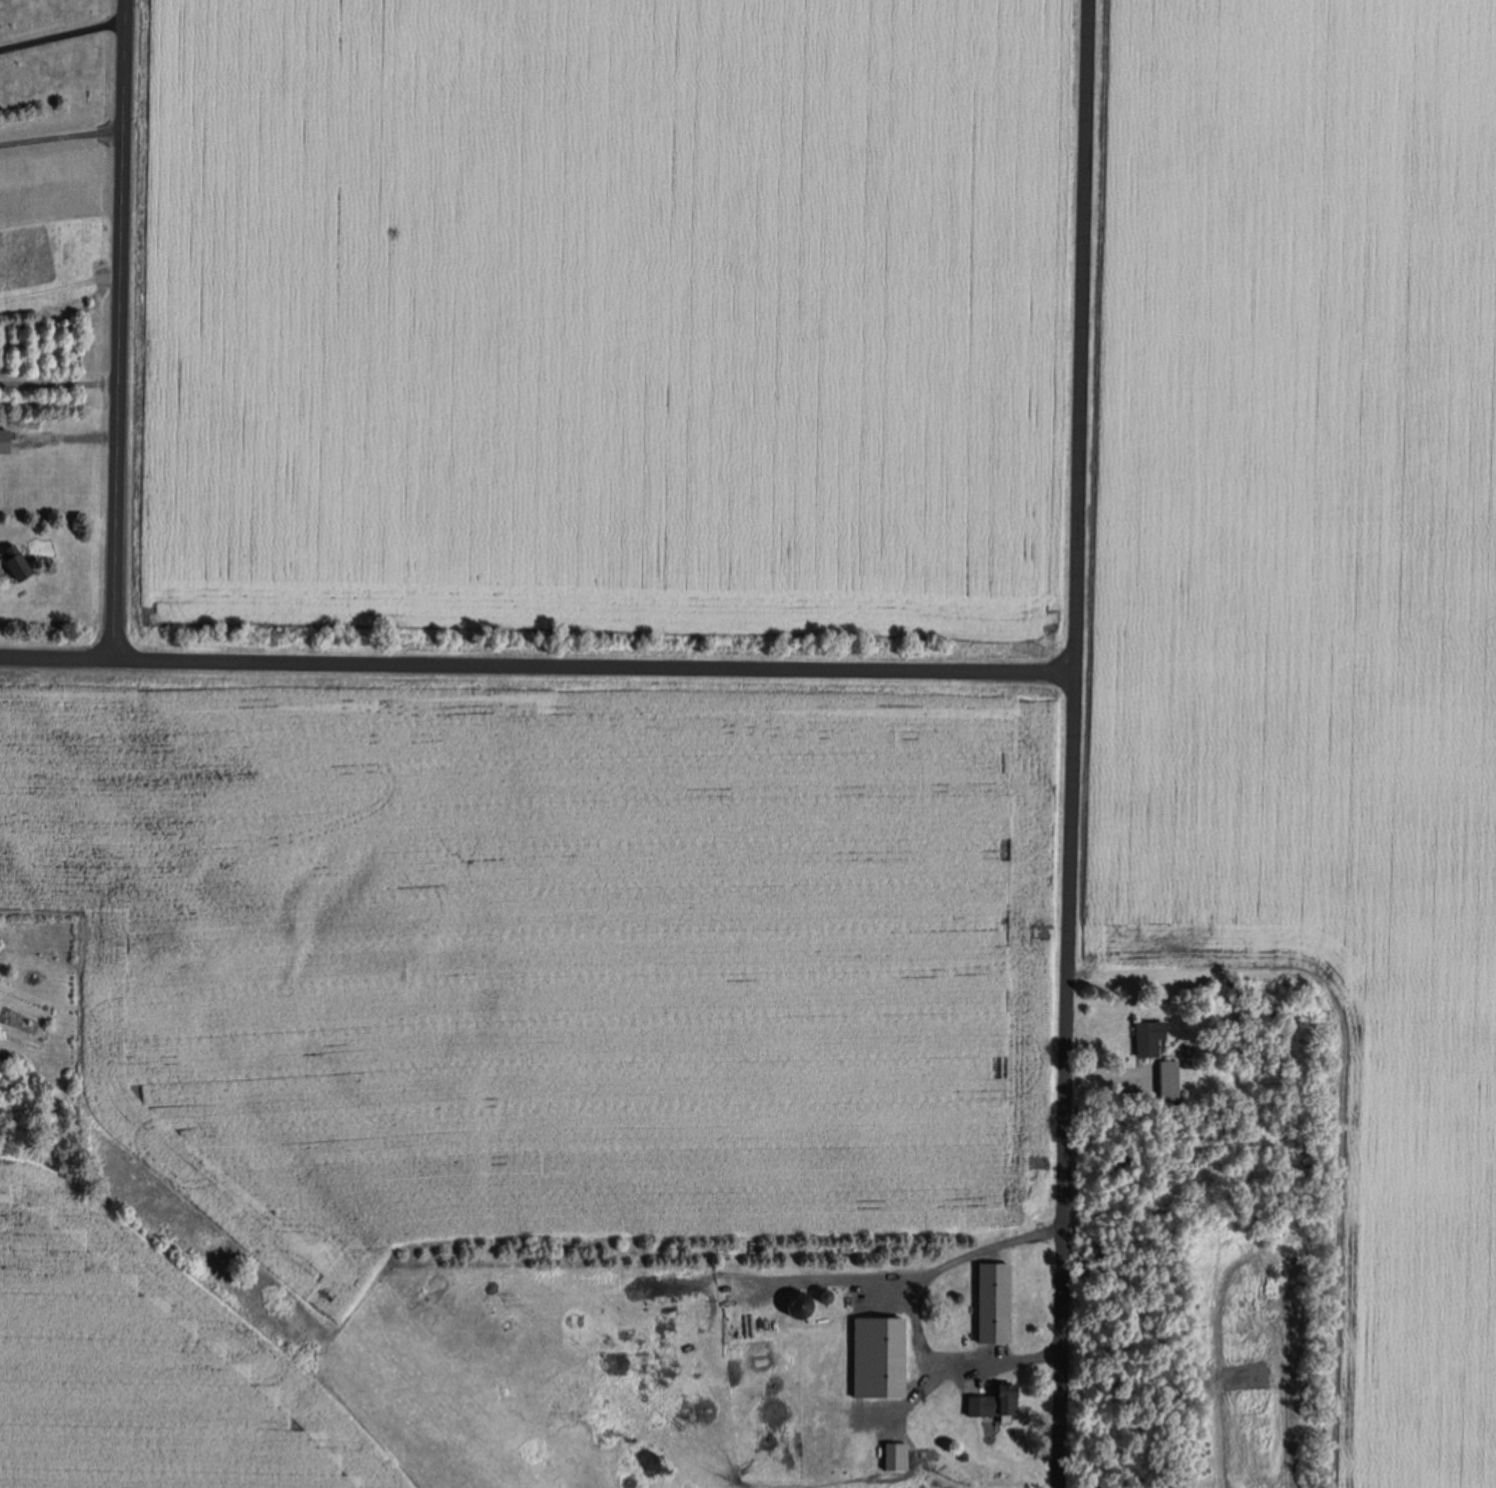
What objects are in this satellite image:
road: (119, 329)
building: (11, 561)
road: (536, 664)
road: (1070, 744)
building: (1146, 1037)
building: (1167, 1079)
building: (992, 1302)
building: (793, 1303)
building: (885, 1356)
building: (991, 1401)

